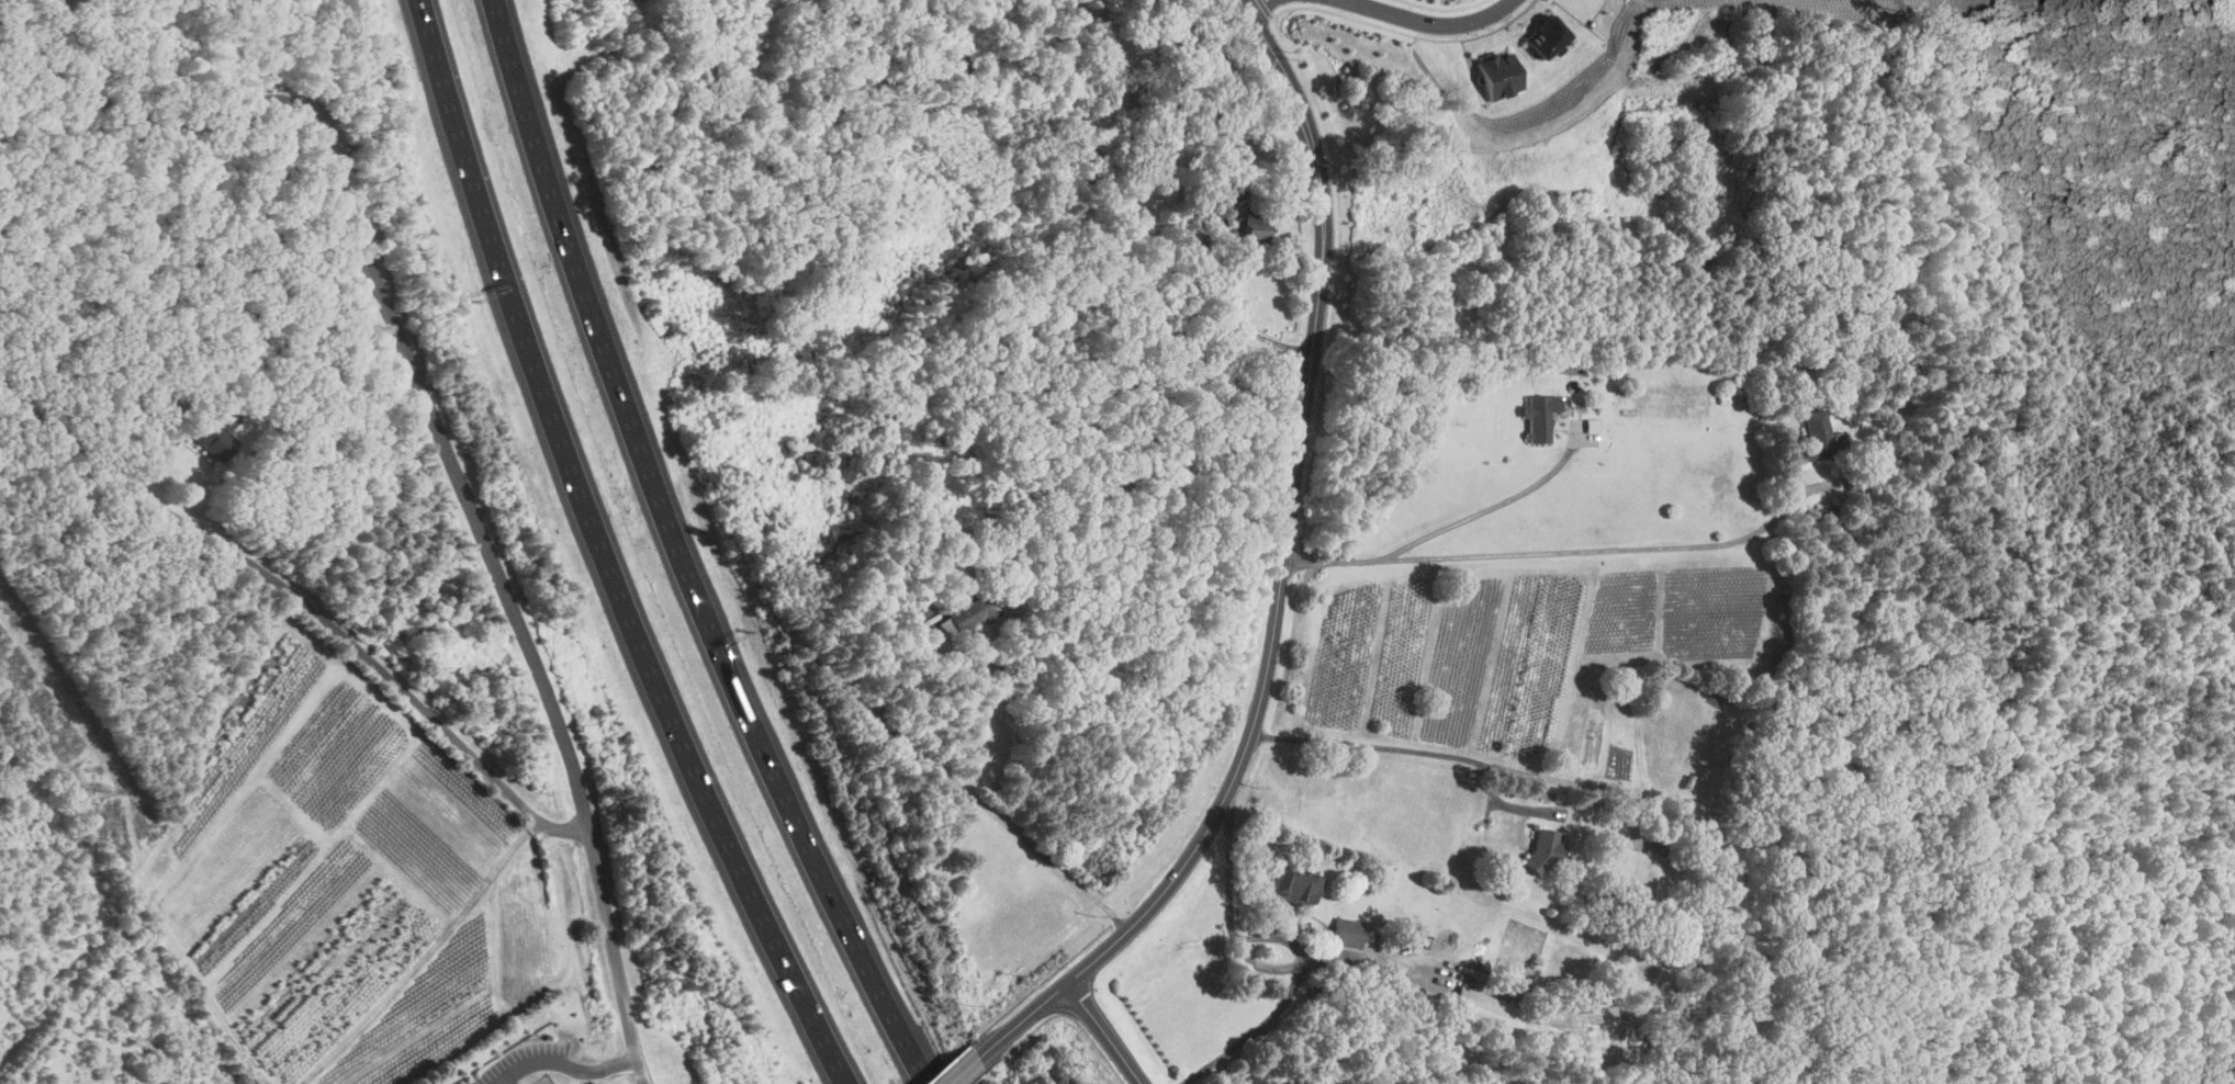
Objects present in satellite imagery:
road: (1251, 4)
road: (1433, 18)
building: (1550, 37)
building: (1502, 75)
building: (1256, 227)
road: (1228, 246)
road: (388, 310)
building: (1540, 416)
building: (214, 434)
building: (1819, 438)
road: (1495, 506)
building: (1828, 513)
road: (1542, 549)
road: (606, 553)
road: (682, 554)
road: (1287, 568)
road: (304, 601)
building: (919, 609)
building: (977, 612)
road: (1406, 747)
power tower: (103, 790)
building: (1655, 846)
building: (1545, 848)
building: (1294, 885)
road: (1228, 913)
building: (1348, 931)
road: (614, 948)
road: (1266, 966)
road: (1277, 1010)
building: (1486, 1010)
road: (1107, 1032)
parking lot: (527, 1063)
road: (570, 1065)
road: (966, 1069)
road: (641, 1072)

